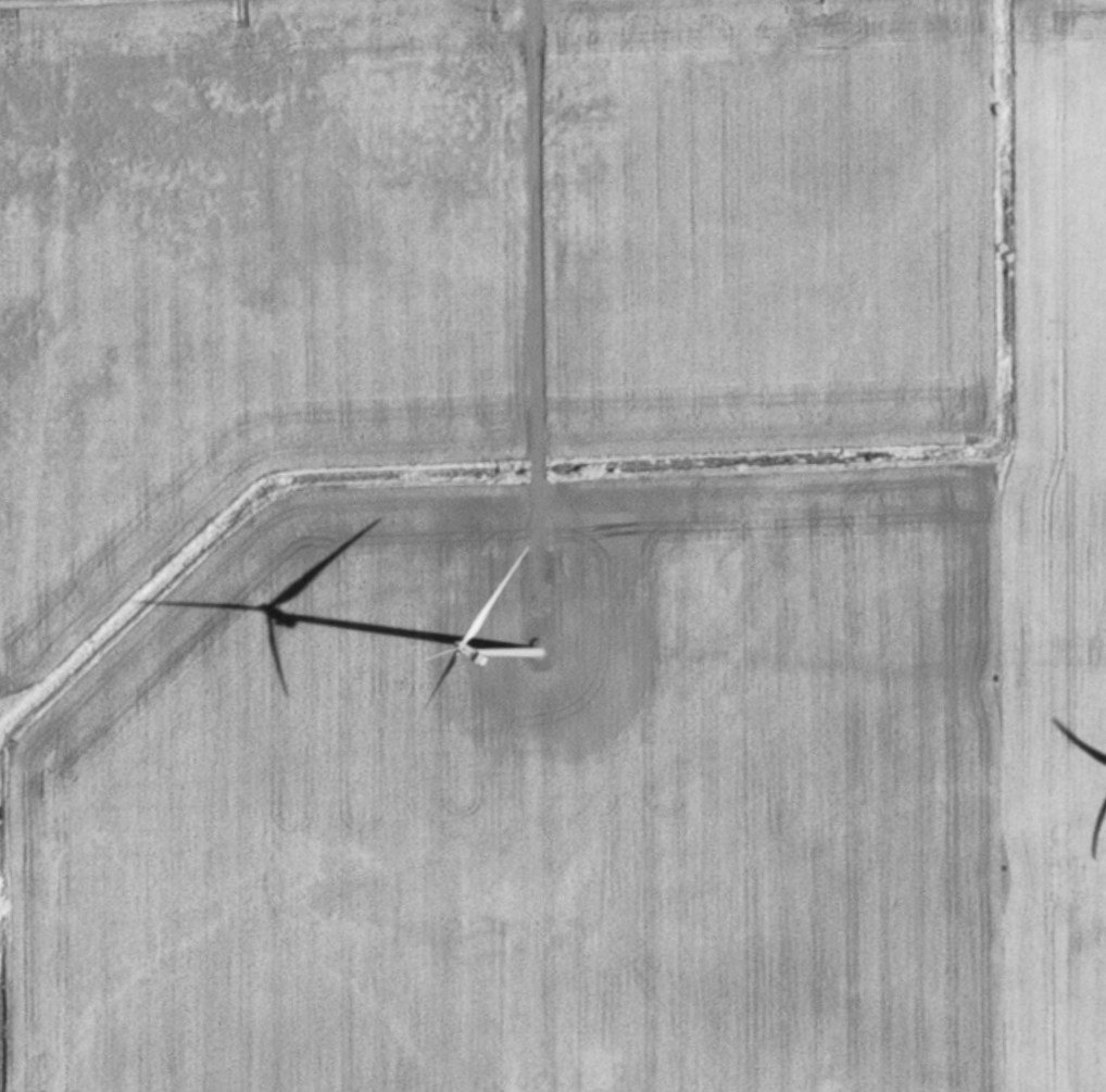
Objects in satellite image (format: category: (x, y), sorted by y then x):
road: (540, 261)
wind turbine: (539, 641)

